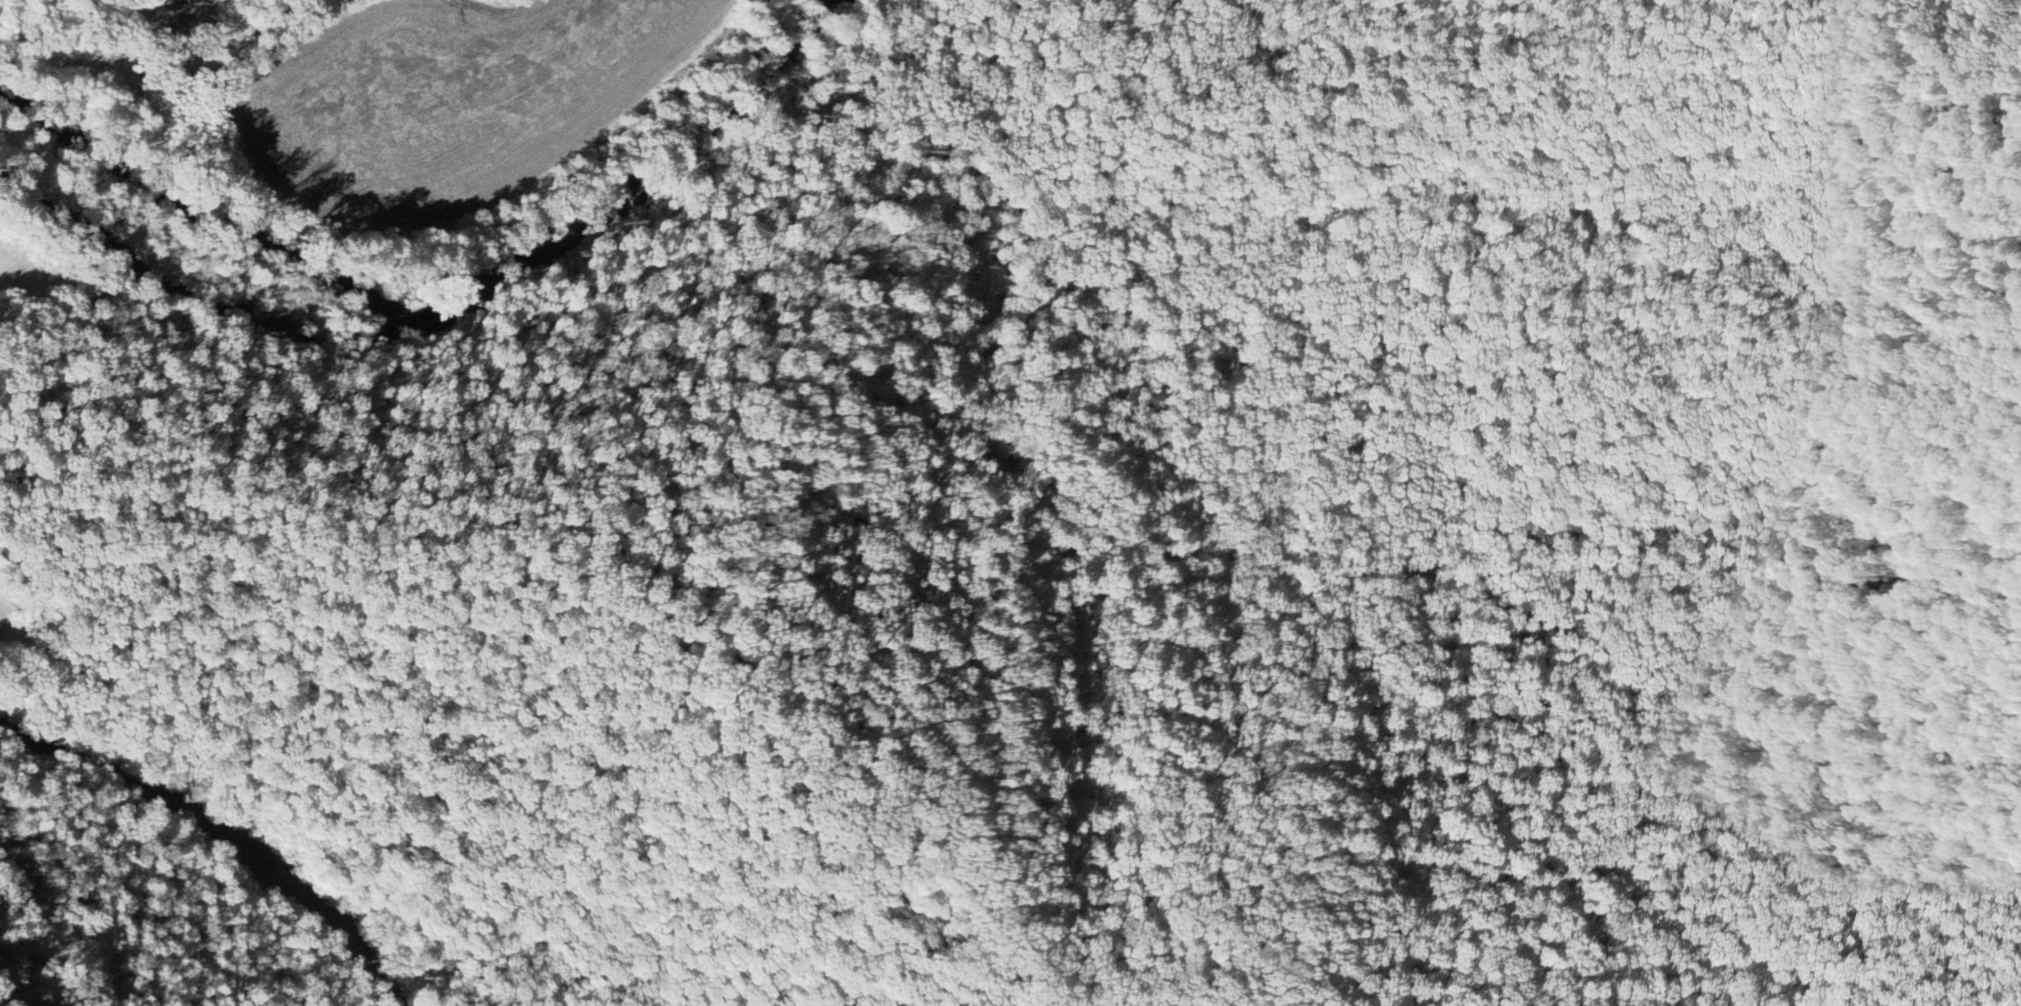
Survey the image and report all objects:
river: (635, 182)
river: (206, 220)
river: (220, 829)

